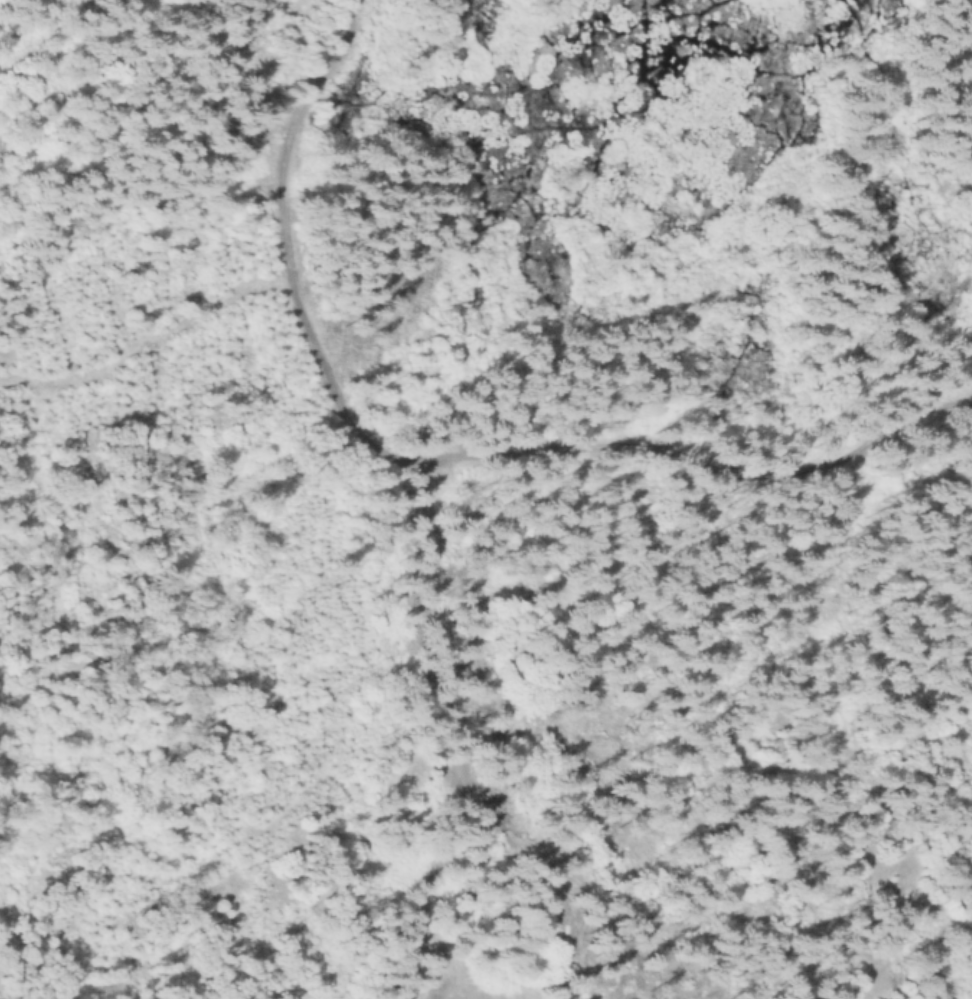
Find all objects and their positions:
road: (437, 458)

